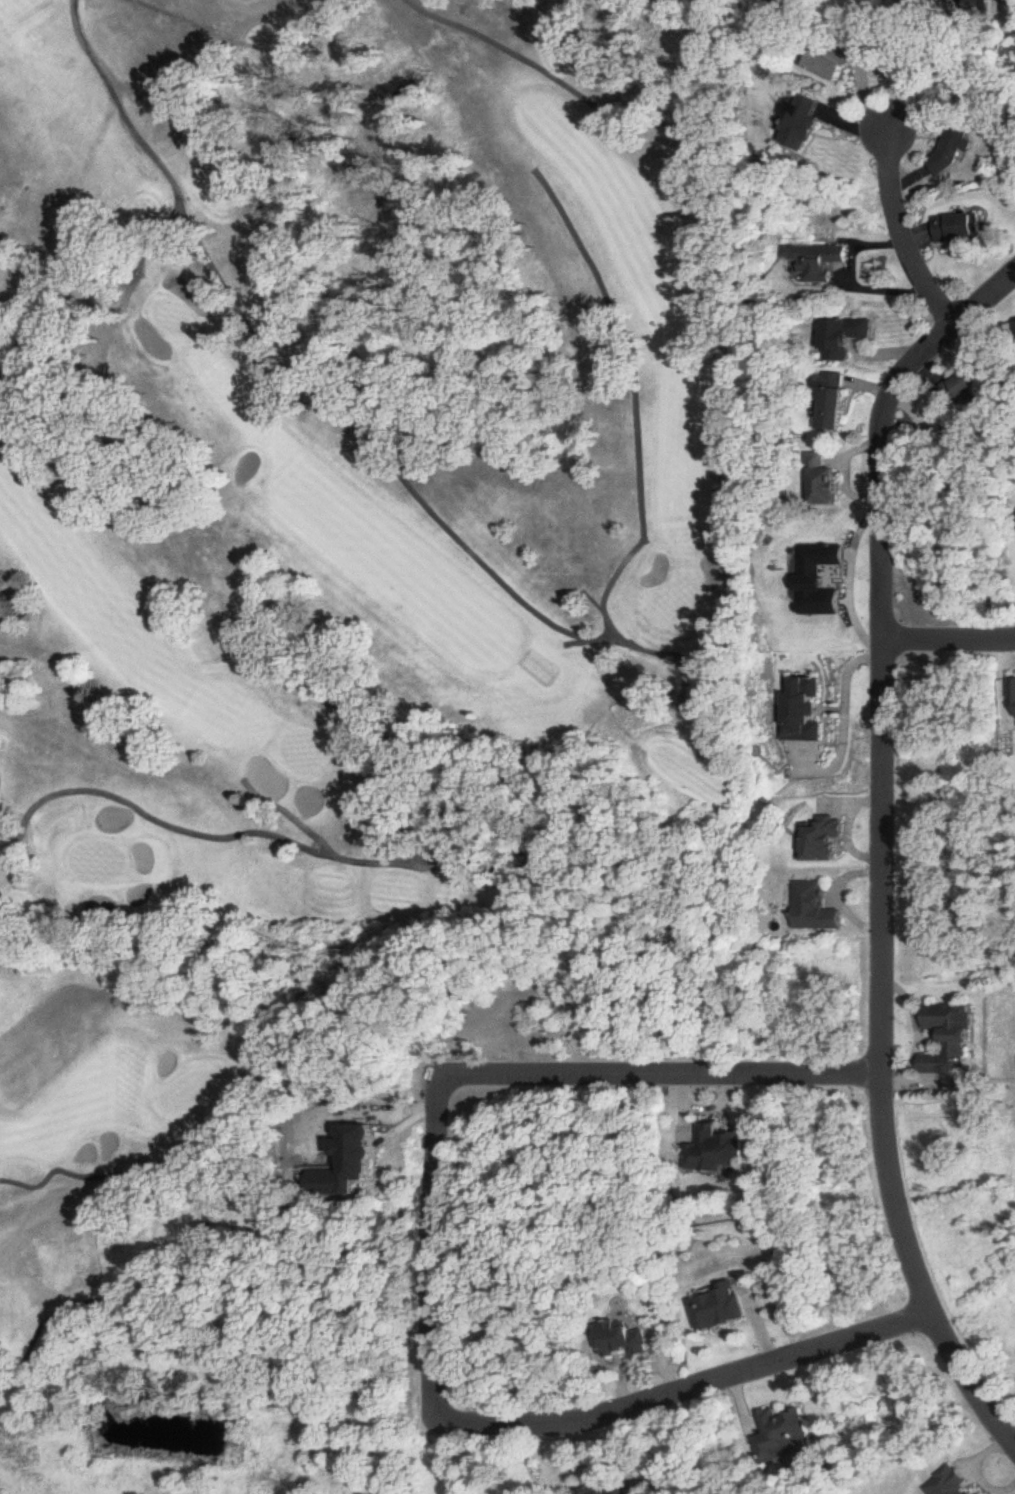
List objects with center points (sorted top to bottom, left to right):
building: (946, 0)
building: (800, 3)
building: (836, 64)
building: (801, 124)
building: (956, 149)
building: (959, 229)
road: (883, 236)
building: (808, 262)
building: (838, 338)
road: (928, 350)
building: (970, 384)
building: (831, 404)
building: (826, 488)
park: (344, 566)
road: (846, 578)
building: (817, 581)
road: (946, 647)
road: (844, 681)
building: (1012, 690)
building: (807, 713)
building: (822, 840)
building: (814, 908)
road: (874, 965)
building: (950, 1040)
building: (720, 1150)
building: (351, 1164)
road: (429, 1289)
building: (722, 1308)
building: (626, 1340)
building: (786, 1437)
building: (950, 1483)
building: (615, 1489)

